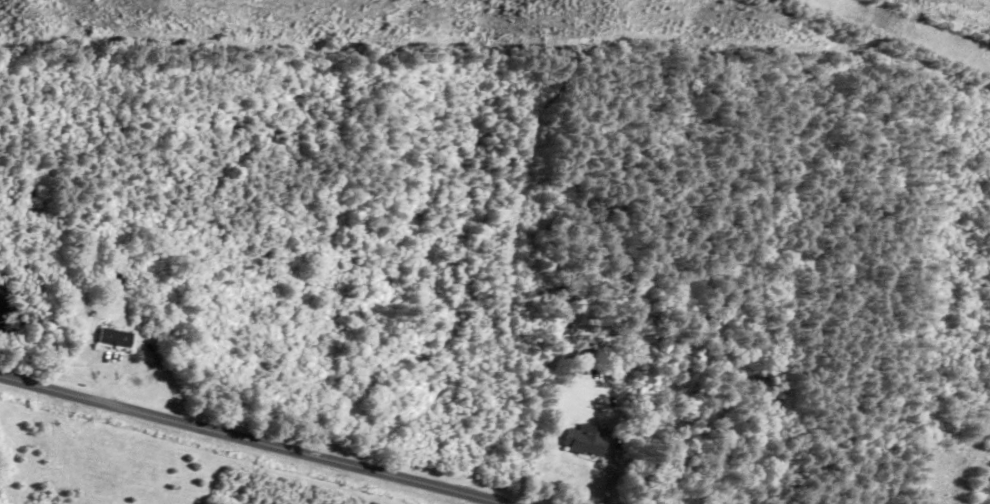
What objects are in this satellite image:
building: (116, 338)
road: (251, 439)
building: (586, 440)
road: (613, 472)

